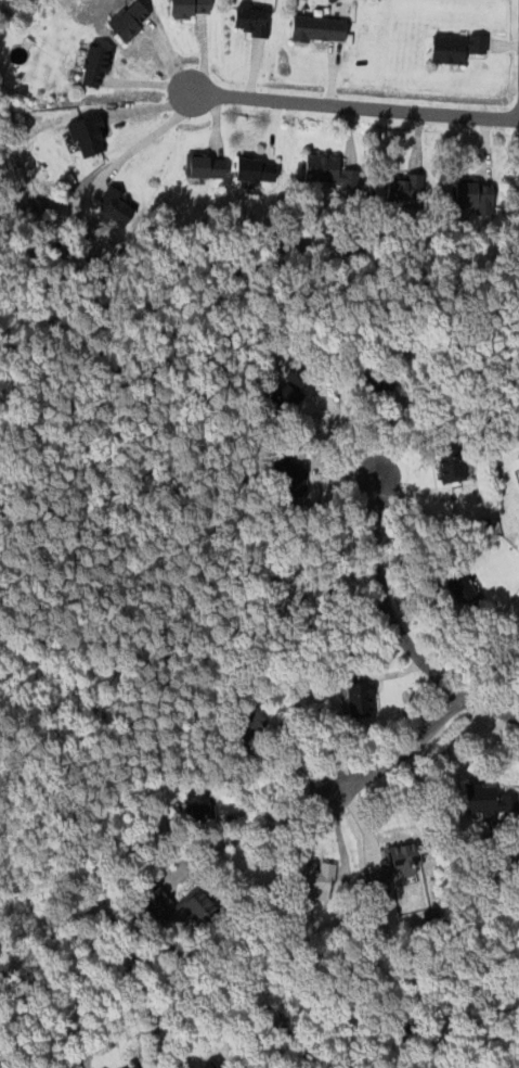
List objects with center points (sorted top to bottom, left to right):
building: (185, 8)
building: (126, 20)
building: (247, 21)
building: (314, 28)
building: (451, 47)
building: (90, 66)
road: (351, 106)
building: (83, 135)
road: (145, 140)
building: (202, 166)
building: (251, 169)
building: (325, 170)
building: (401, 188)
building: (518, 192)
building: (471, 195)
building: (111, 206)
building: (371, 380)
building: (284, 391)
road: (347, 429)
building: (446, 465)
building: (286, 474)
building: (456, 585)
building: (314, 599)
road: (393, 626)
building: (358, 699)
building: (245, 725)
road: (404, 752)
road: (277, 798)
building: (485, 799)
building: (197, 803)
road: (257, 828)
building: (401, 860)
building: (312, 881)
building: (153, 901)
building: (206, 1065)
building: (125, 1067)
building: (133, 1067)

